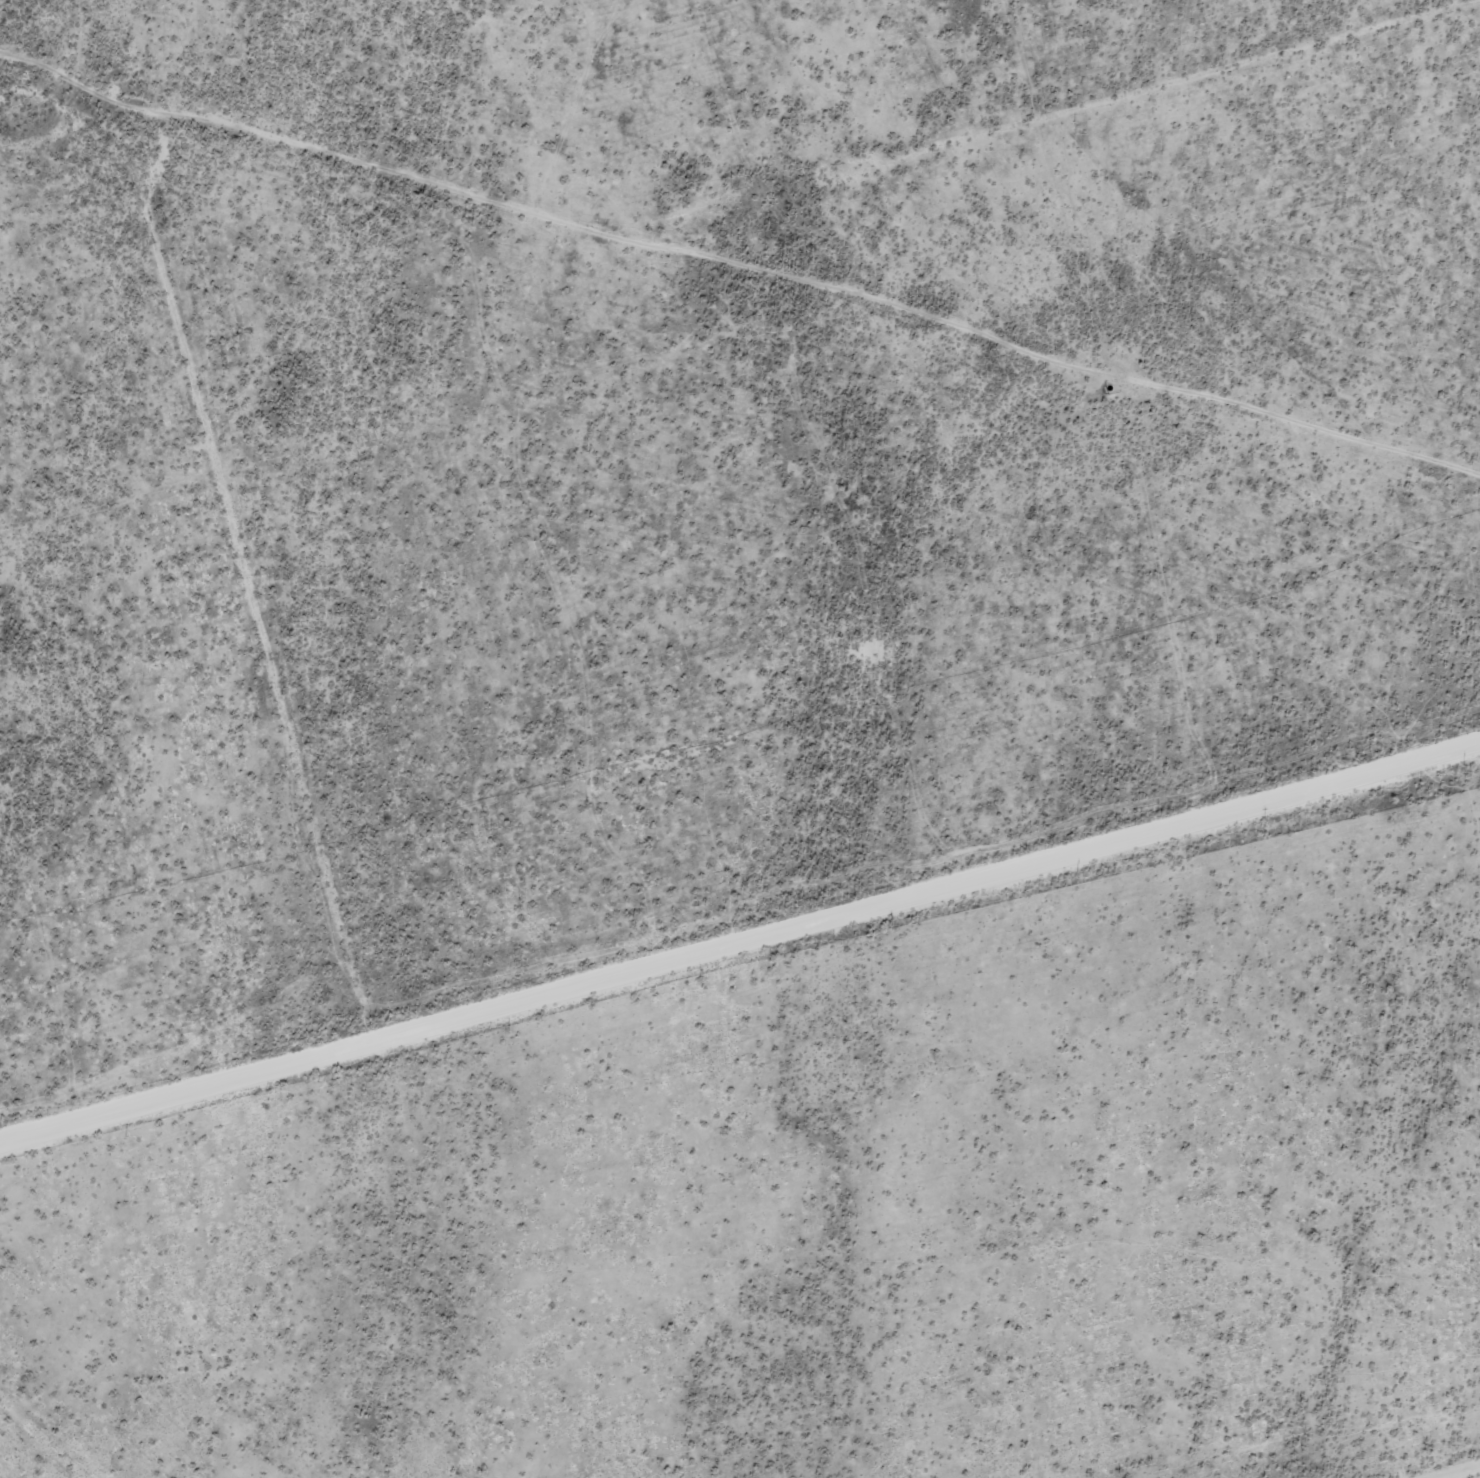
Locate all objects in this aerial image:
road: (1174, 84)
road: (262, 616)
road: (740, 936)
road: (296, 1126)
road: (1463, 1473)

